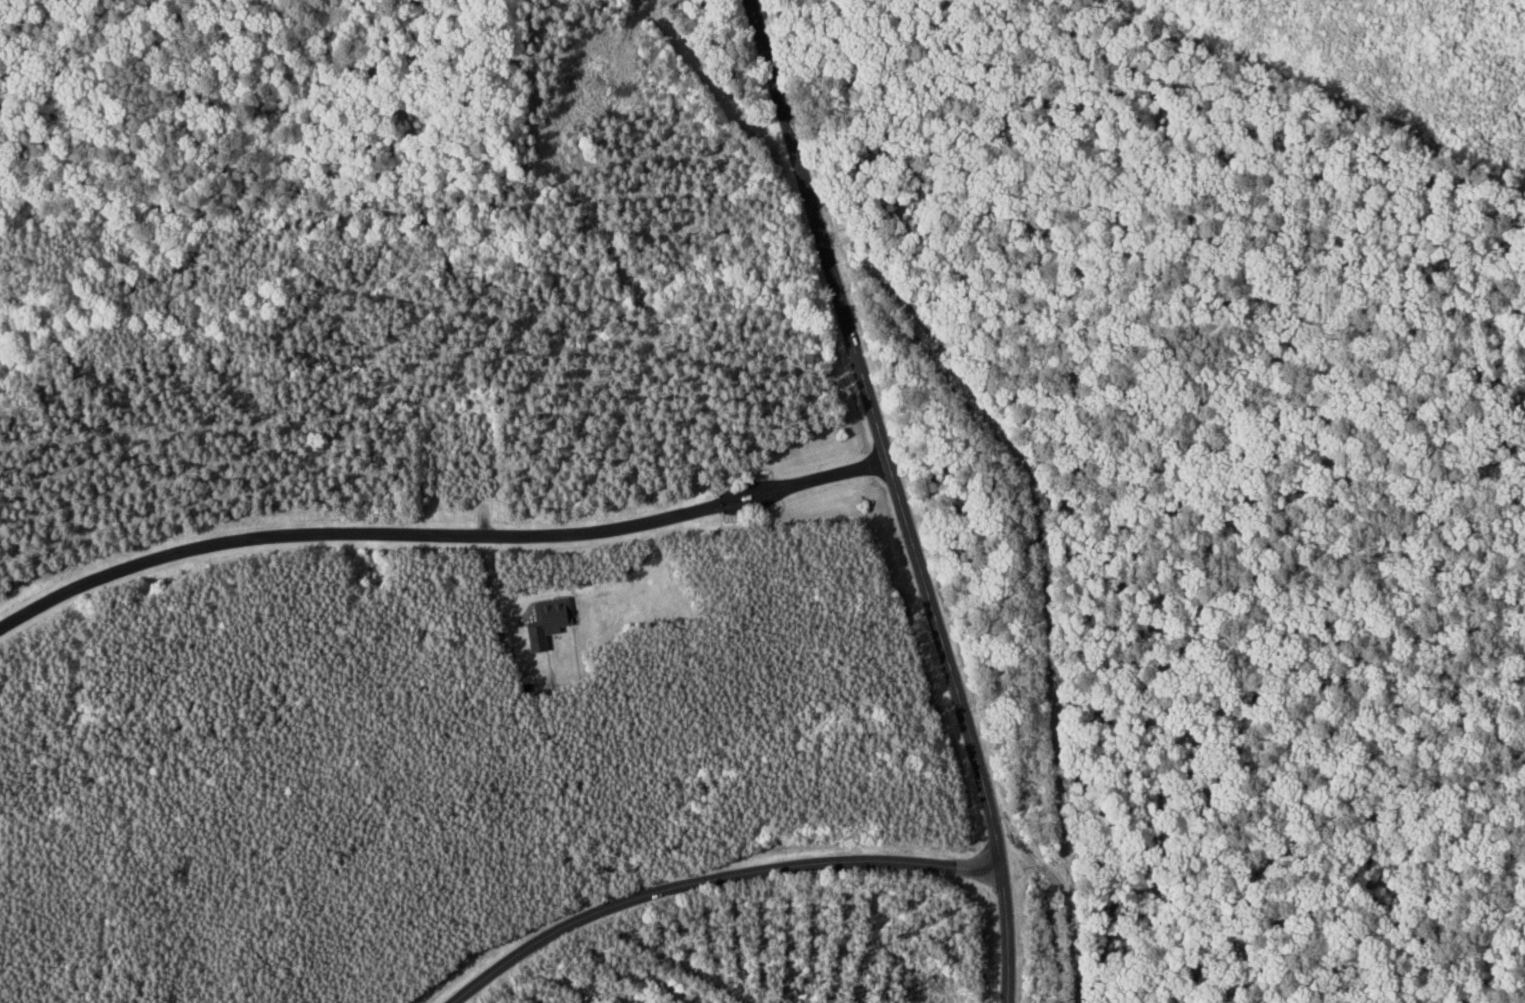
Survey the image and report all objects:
road: (898, 498)
road: (438, 536)
building: (543, 621)
road: (713, 881)

